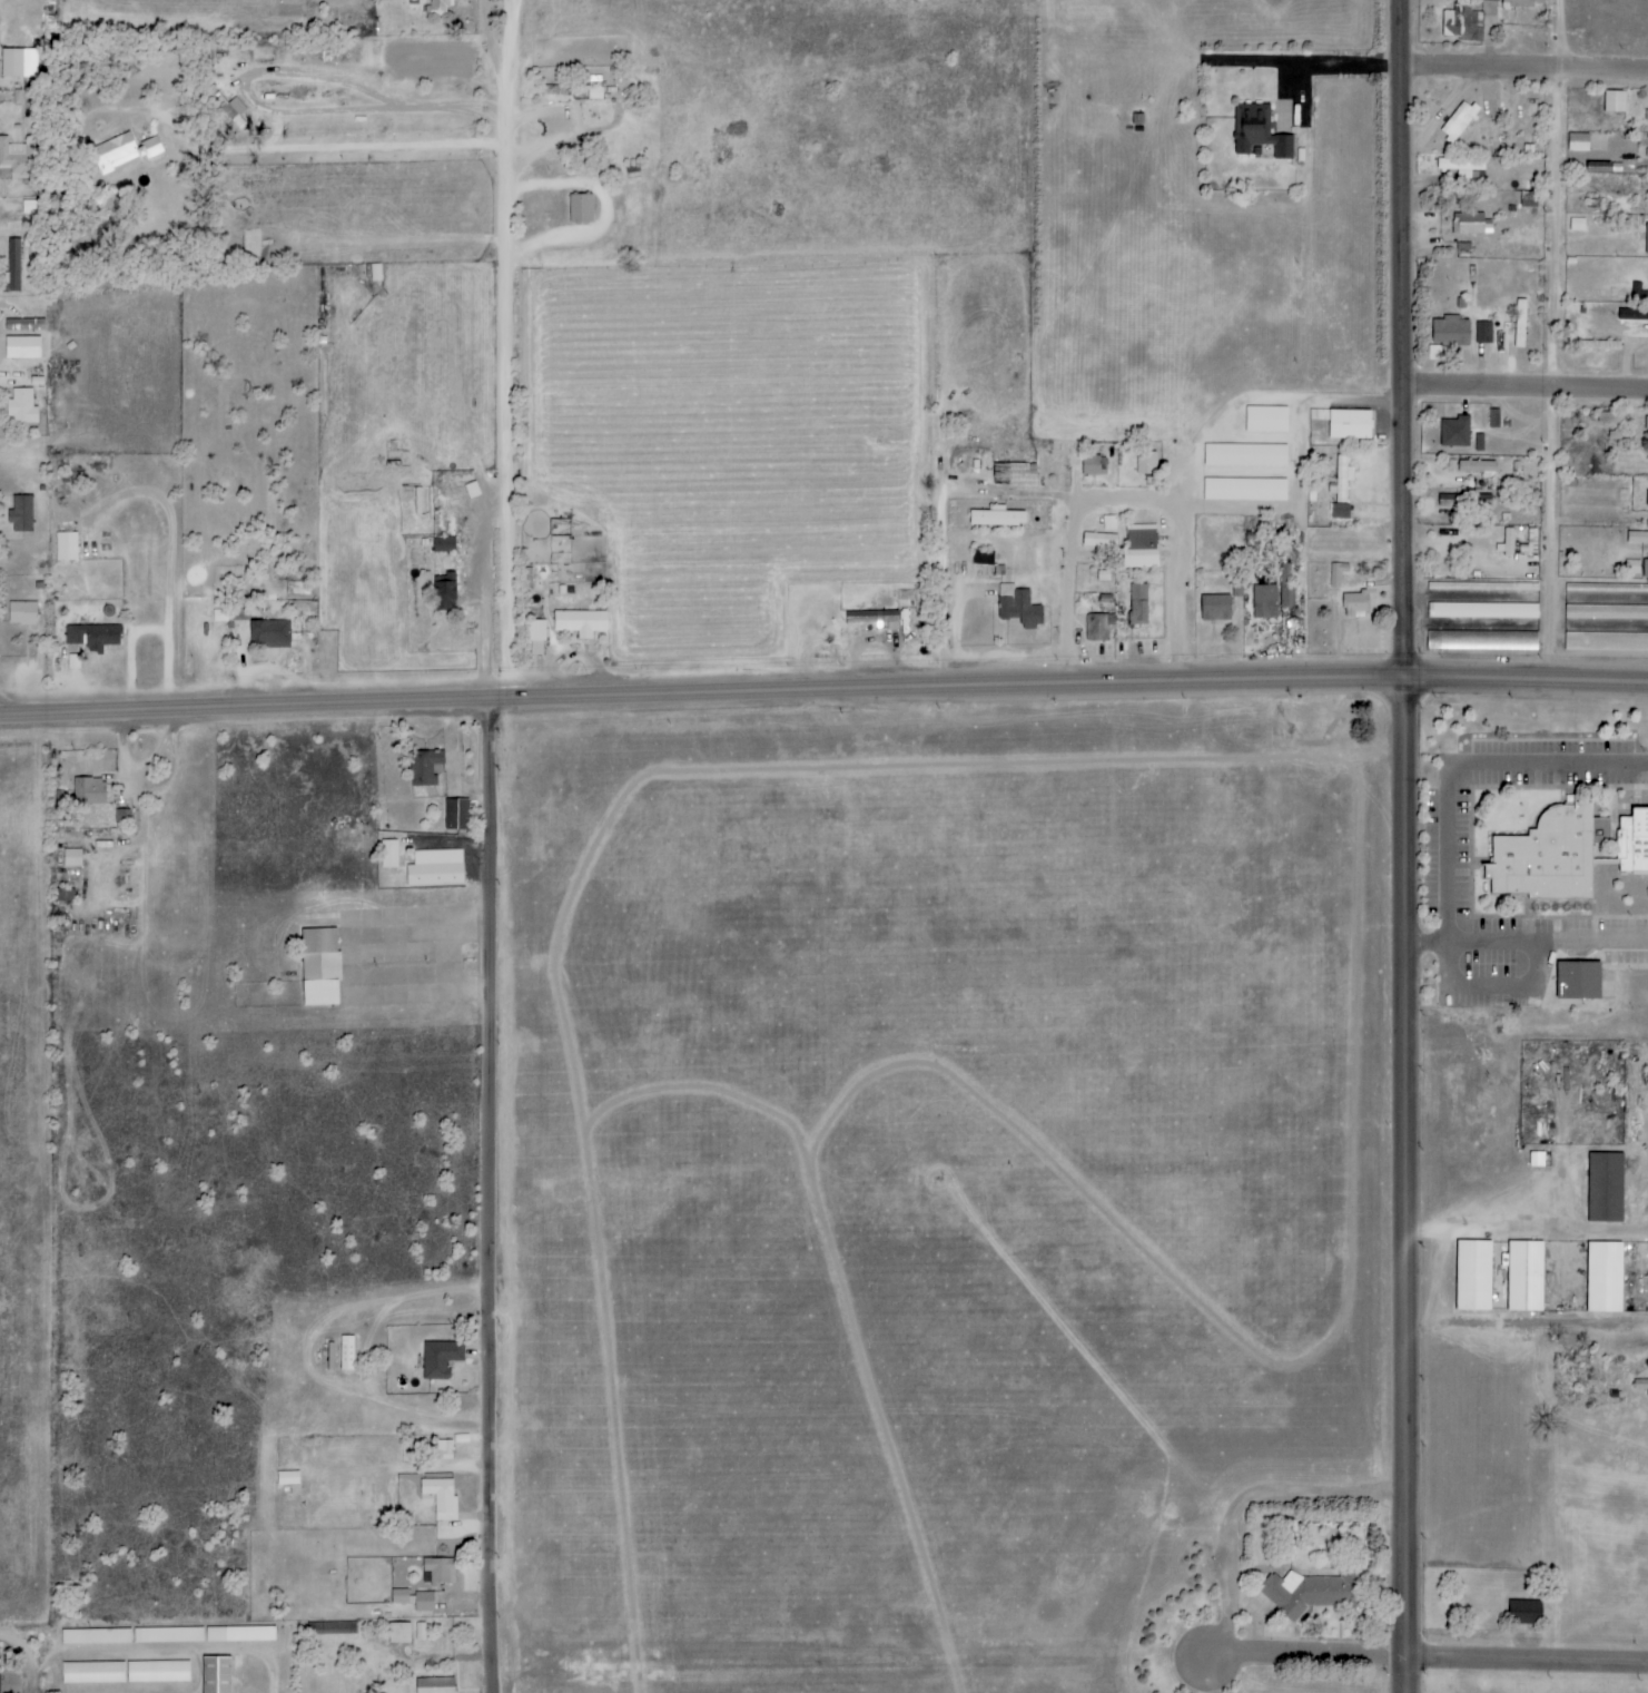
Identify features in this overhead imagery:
building: (1491, 0)
building: (1522, 3)
building: (441, 6)
building: (1462, 23)
building: (18, 62)
road: (1528, 71)
road: (1315, 72)
road: (516, 87)
building: (1614, 101)
building: (1646, 116)
building: (1458, 120)
building: (1257, 131)
building: (1578, 141)
road: (349, 149)
building: (122, 151)
building: (14, 160)
building: (1605, 168)
building: (1464, 169)
building: (1647, 197)
building: (32, 207)
building: (580, 208)
road: (18, 211)
road: (616, 215)
building: (1470, 223)
building: (1646, 239)
building: (13, 265)
building: (373, 273)
building: (1450, 331)
building: (1483, 333)
road: (1410, 341)
road: (1562, 342)
building: (21, 347)
road: (1529, 390)
road: (514, 395)
building: (21, 407)
building: (1610, 417)
building: (1266, 420)
building: (1344, 423)
building: (1646, 429)
building: (1455, 432)
building: (1479, 443)
building: (1245, 455)
building: (1146, 463)
building: (1093, 465)
building: (1478, 467)
building: (1022, 475)
building: (1341, 480)
building: (1244, 490)
road: (971, 492)
building: (1464, 501)
building: (1340, 511)
building: (20, 513)
building: (996, 519)
building: (1109, 523)
building: (1637, 538)
building: (1099, 541)
building: (1508, 542)
building: (443, 544)
building: (66, 547)
building: (1139, 548)
building: (981, 557)
building: (1645, 569)
building: (1336, 574)
building: (1286, 585)
building: (1236, 587)
building: (297, 589)
building: (443, 593)
road: (1077, 593)
road: (1186, 594)
building: (1264, 601)
building: (1137, 604)
building: (1354, 604)
building: (1018, 607)
building: (1214, 608)
building: (1490, 611)
building: (21, 613)
building: (871, 617)
building: (580, 623)
road: (495, 626)
building: (1098, 627)
building: (535, 631)
building: (268, 634)
building: (1482, 640)
building: (1622, 641)
road: (1405, 681)
road: (582, 700)
building: (425, 768)
building: (89, 791)
road: (1464, 796)
building: (455, 815)
building: (122, 818)
building: (1634, 843)
building: (388, 855)
building: (1549, 856)
building: (71, 858)
building: (435, 869)
building: (318, 967)
building: (1577, 982)
building: (1537, 1159)
road: (1402, 1187)
building: (1605, 1188)
road: (495, 1198)
road: (1524, 1236)
building: (1472, 1276)
building: (1524, 1276)
building: (1603, 1277)
road: (1526, 1327)
building: (346, 1352)
building: (440, 1358)
building: (442, 1449)
building: (287, 1478)
building: (441, 1497)
road: (1251, 1502)
building: (438, 1571)
building: (1310, 1592)
building: (413, 1598)
building: (1524, 1612)
building: (332, 1627)
building: (239, 1633)
building: (398, 1633)
building: (169, 1634)
building: (93, 1635)
road: (26, 1648)
road: (1423, 1657)
building: (157, 1671)
road: (204, 1671)
building: (91, 1672)
building: (215, 1674)
road: (42, 1682)
building: (434, 1685)
road: (122, 1692)

